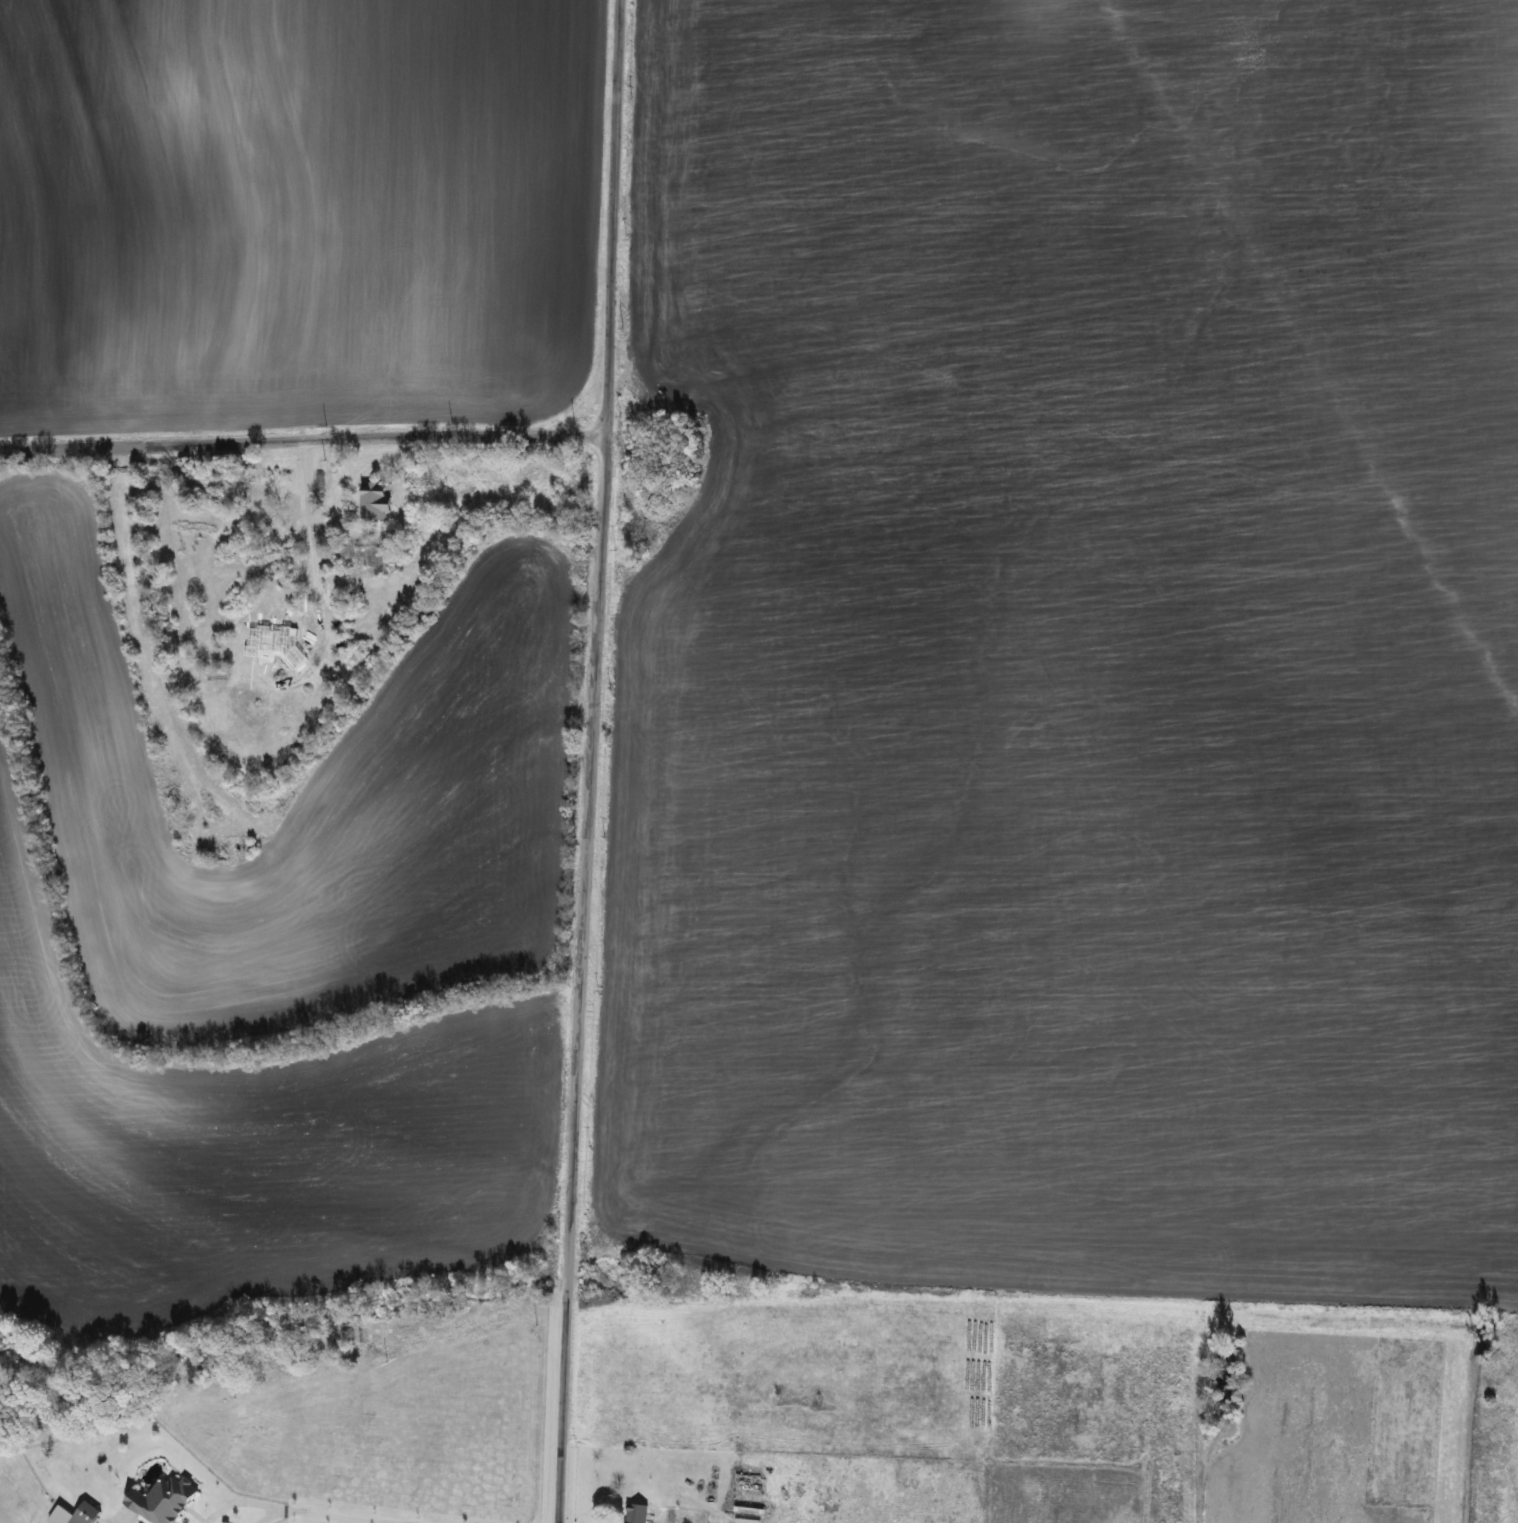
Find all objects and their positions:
road: (302, 441)
road: (314, 489)
building: (370, 500)
building: (328, 509)
building: (283, 516)
building: (304, 625)
road: (590, 761)
building: (157, 1501)
road: (235, 1505)
building: (82, 1514)
building: (634, 1514)
road: (320, 1516)
road: (264, 1518)

